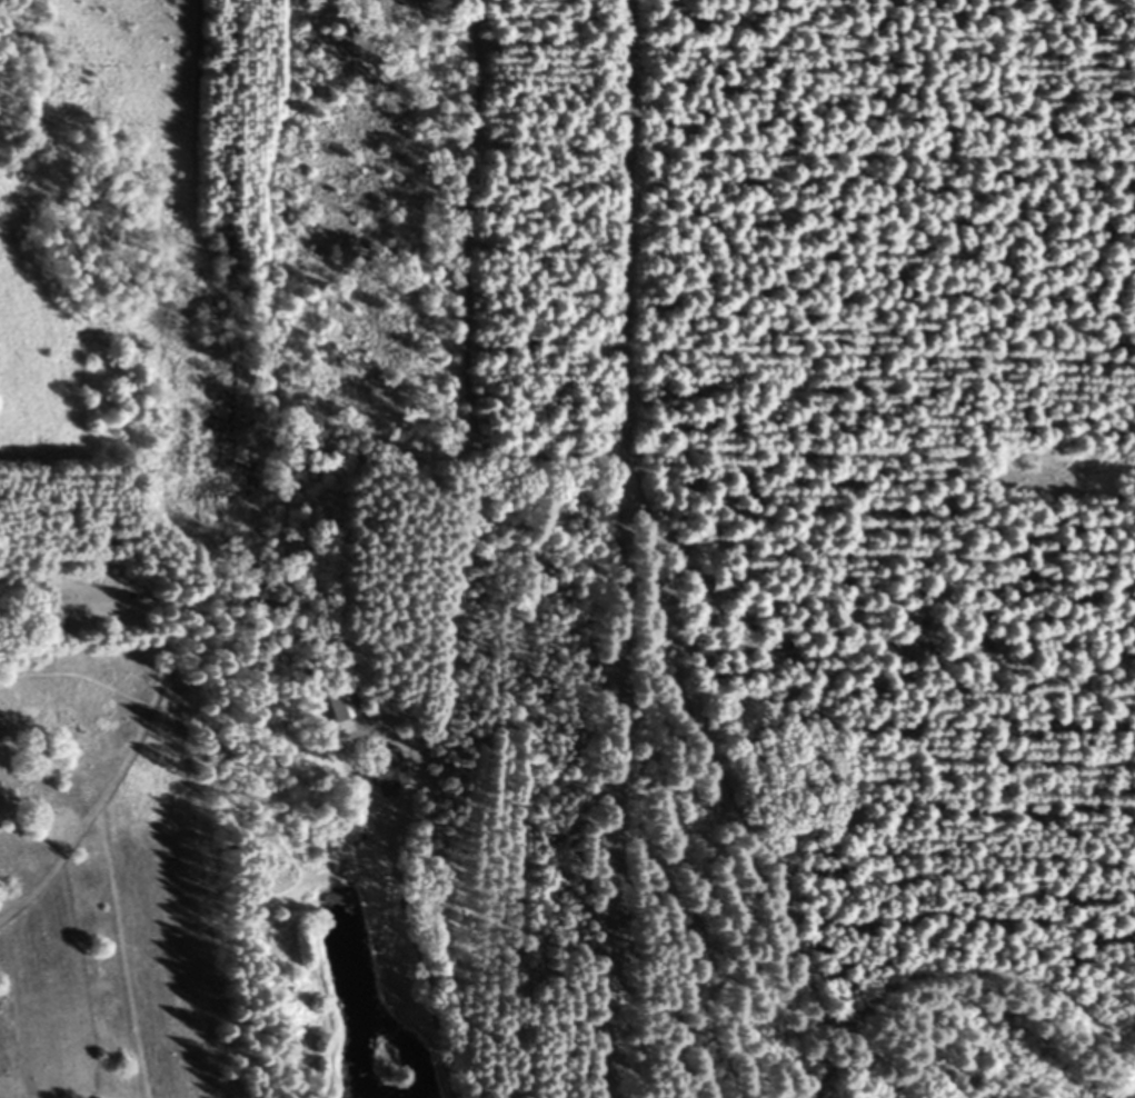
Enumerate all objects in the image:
building: (337, 702)
building: (381, 768)
road: (621, 935)

